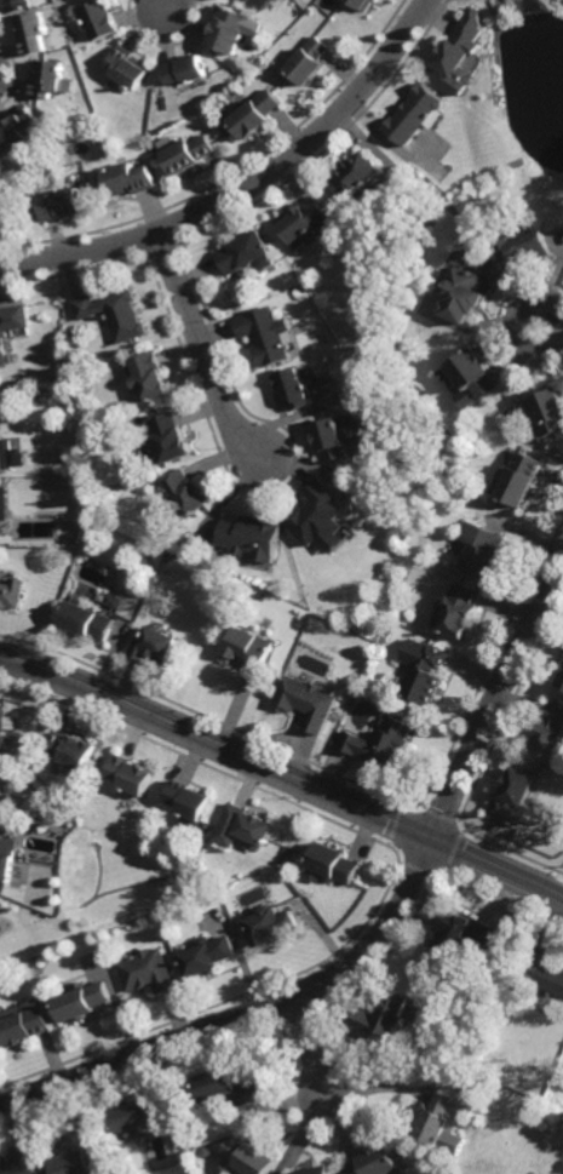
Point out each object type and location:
building: (363, 5)
building: (13, 6)
road: (161, 6)
building: (100, 22)
building: (231, 32)
building: (33, 35)
building: (458, 56)
building: (310, 63)
building: (128, 69)
building: (186, 71)
building: (46, 81)
building: (257, 116)
building: (416, 116)
building: (22, 133)
building: (190, 154)
building: (357, 174)
building: (130, 178)
road: (247, 187)
building: (63, 202)
building: (306, 219)
building: (528, 245)
building: (247, 252)
building: (466, 287)
building: (114, 314)
building: (11, 323)
road: (517, 328)
building: (266, 334)
road: (201, 350)
building: (59, 373)
building: (473, 376)
building: (150, 377)
building: (450, 380)
building: (293, 389)
building: (550, 411)
building: (166, 440)
building: (332, 440)
building: (1, 453)
building: (519, 479)
building: (185, 493)
building: (4, 504)
building: (318, 515)
building: (252, 537)
building: (481, 550)
building: (11, 594)
building: (461, 609)
building: (85, 622)
building: (151, 646)
building: (248, 647)
building: (361, 668)
building: (421, 671)
building: (562, 685)
building: (305, 699)
building: (5, 725)
building: (551, 733)
building: (381, 743)
road: (217, 746)
building: (71, 751)
building: (131, 775)
building: (0, 789)
building: (516, 797)
building: (188, 801)
building: (5, 803)
building: (242, 829)
building: (6, 859)
building: (332, 865)
road: (498, 869)
building: (0, 917)
building: (268, 924)
road: (384, 930)
building: (461, 933)
building: (206, 956)
building: (145, 970)
building: (546, 975)
building: (81, 1000)
building: (384, 1015)
building: (22, 1021)
building: (504, 1024)
road: (310, 1047)
building: (229, 1084)
building: (139, 1113)
building: (443, 1122)
building: (248, 1156)
building: (86, 1159)
building: (378, 1161)
building: (21, 1163)
building: (318, 1169)

